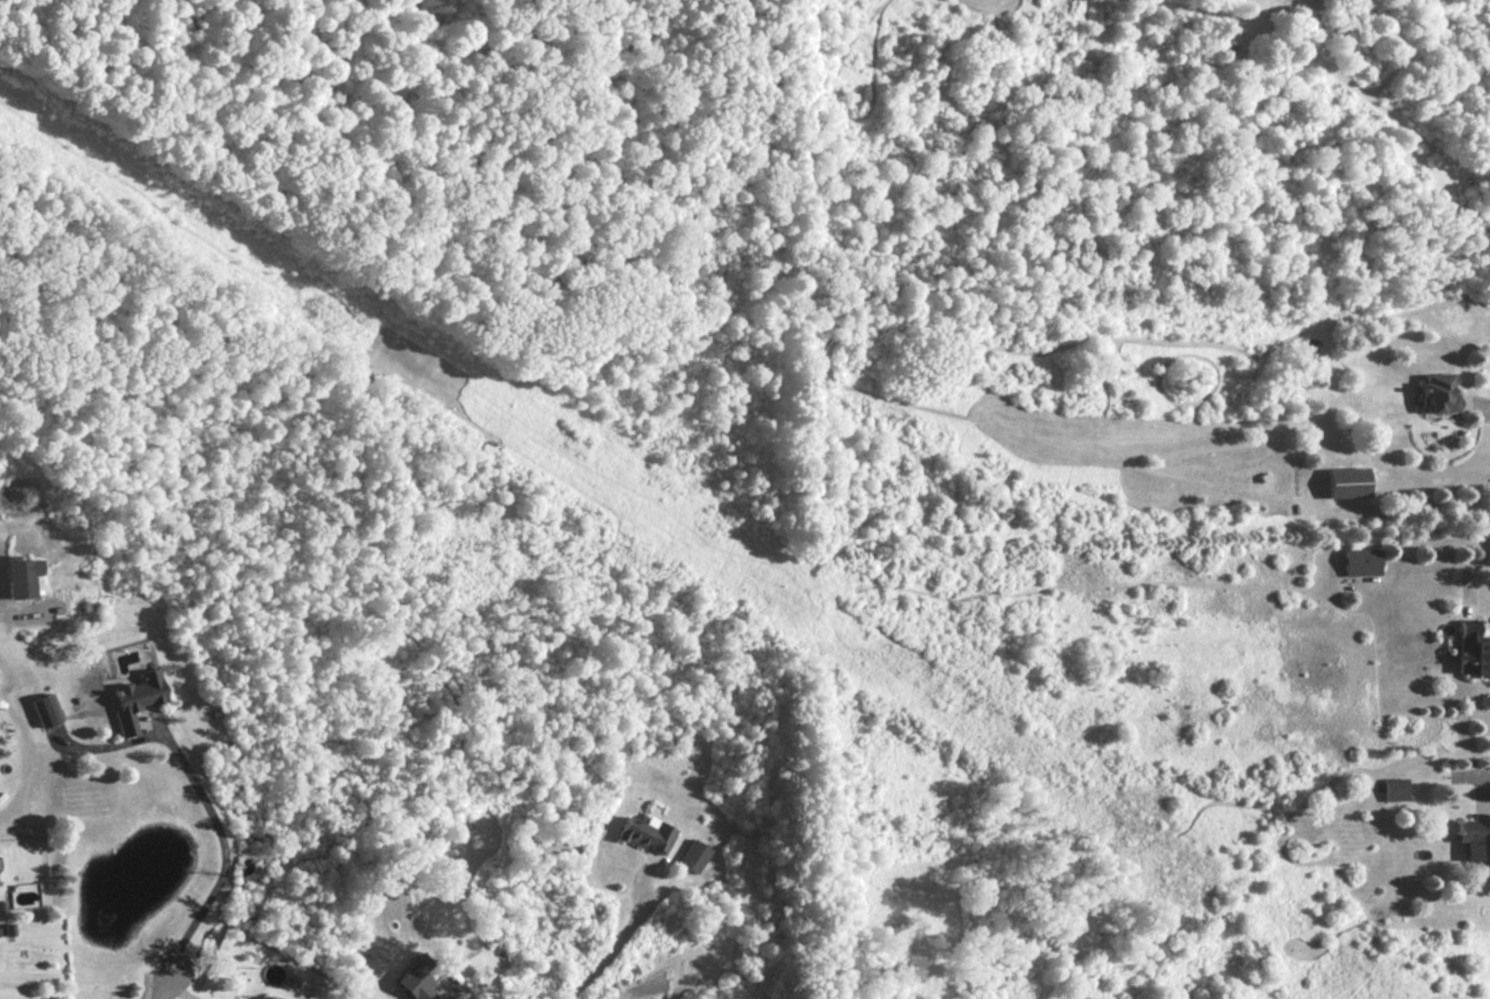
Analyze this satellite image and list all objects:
building: (1418, 189)
building: (1440, 392)
road: (1489, 402)
building: (1348, 482)
building: (56, 551)
building: (1361, 562)
road: (1482, 566)
building: (22, 570)
building: (1472, 651)
building: (135, 698)
building: (45, 710)
road: (1487, 768)
building: (1395, 790)
building: (646, 834)
building: (1476, 841)
road: (225, 845)
building: (692, 856)
road: (614, 943)
building: (417, 978)
road: (164, 986)
building: (267, 997)

